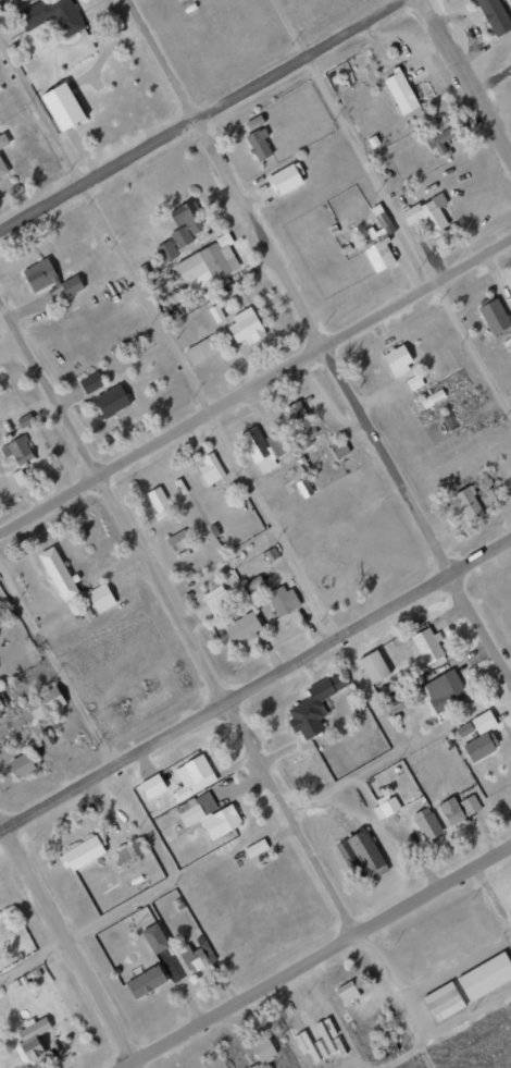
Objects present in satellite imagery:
building: (52, 15)
building: (495, 16)
road: (468, 79)
building: (400, 91)
building: (62, 107)
road: (202, 113)
building: (3, 140)
building: (438, 140)
building: (259, 145)
building: (2, 169)
building: (286, 179)
road: (394, 204)
building: (428, 214)
building: (183, 231)
building: (378, 243)
building: (208, 265)
building: (39, 274)
building: (72, 285)
building: (495, 316)
building: (246, 327)
road: (316, 340)
building: (201, 349)
building: (398, 359)
building: (91, 382)
building: (414, 382)
road: (254, 385)
road: (198, 391)
building: (433, 398)
building: (112, 402)
building: (450, 419)
building: (25, 420)
building: (301, 423)
building: (263, 449)
building: (18, 451)
building: (211, 469)
building: (304, 488)
building: (494, 496)
building: (159, 502)
building: (469, 504)
building: (178, 540)
building: (59, 574)
building: (101, 598)
building: (217, 601)
building: (283, 601)
building: (242, 628)
building: (426, 645)
building: (374, 665)
road: (208, 673)
road: (255, 685)
building: (441, 691)
building: (0, 701)
building: (396, 701)
building: (46, 702)
building: (314, 705)
road: (87, 717)
building: (483, 722)
building: (464, 728)
building: (479, 746)
building: (24, 763)
building: (192, 776)
building: (152, 785)
building: (470, 805)
building: (388, 806)
building: (451, 810)
building: (209, 814)
building: (427, 825)
road: (254, 826)
building: (255, 848)
building: (128, 850)
building: (82, 854)
building: (361, 855)
building: (510, 913)
road: (67, 945)
building: (163, 953)
building: (198, 955)
road: (317, 957)
building: (485, 977)
building: (145, 982)
building: (347, 992)
building: (443, 1002)
road: (441, 1029)
building: (33, 1039)
building: (263, 1048)
building: (253, 1066)

